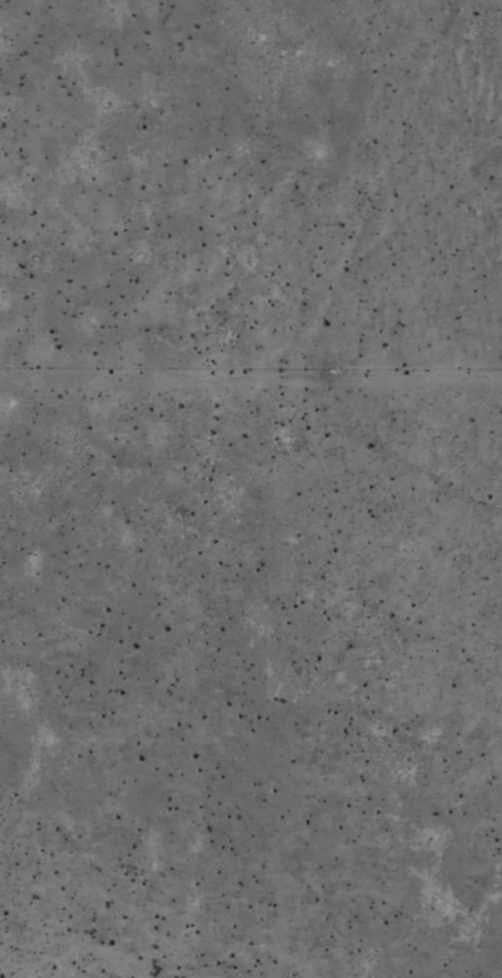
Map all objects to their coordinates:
road: (423, 368)
road: (344, 369)

